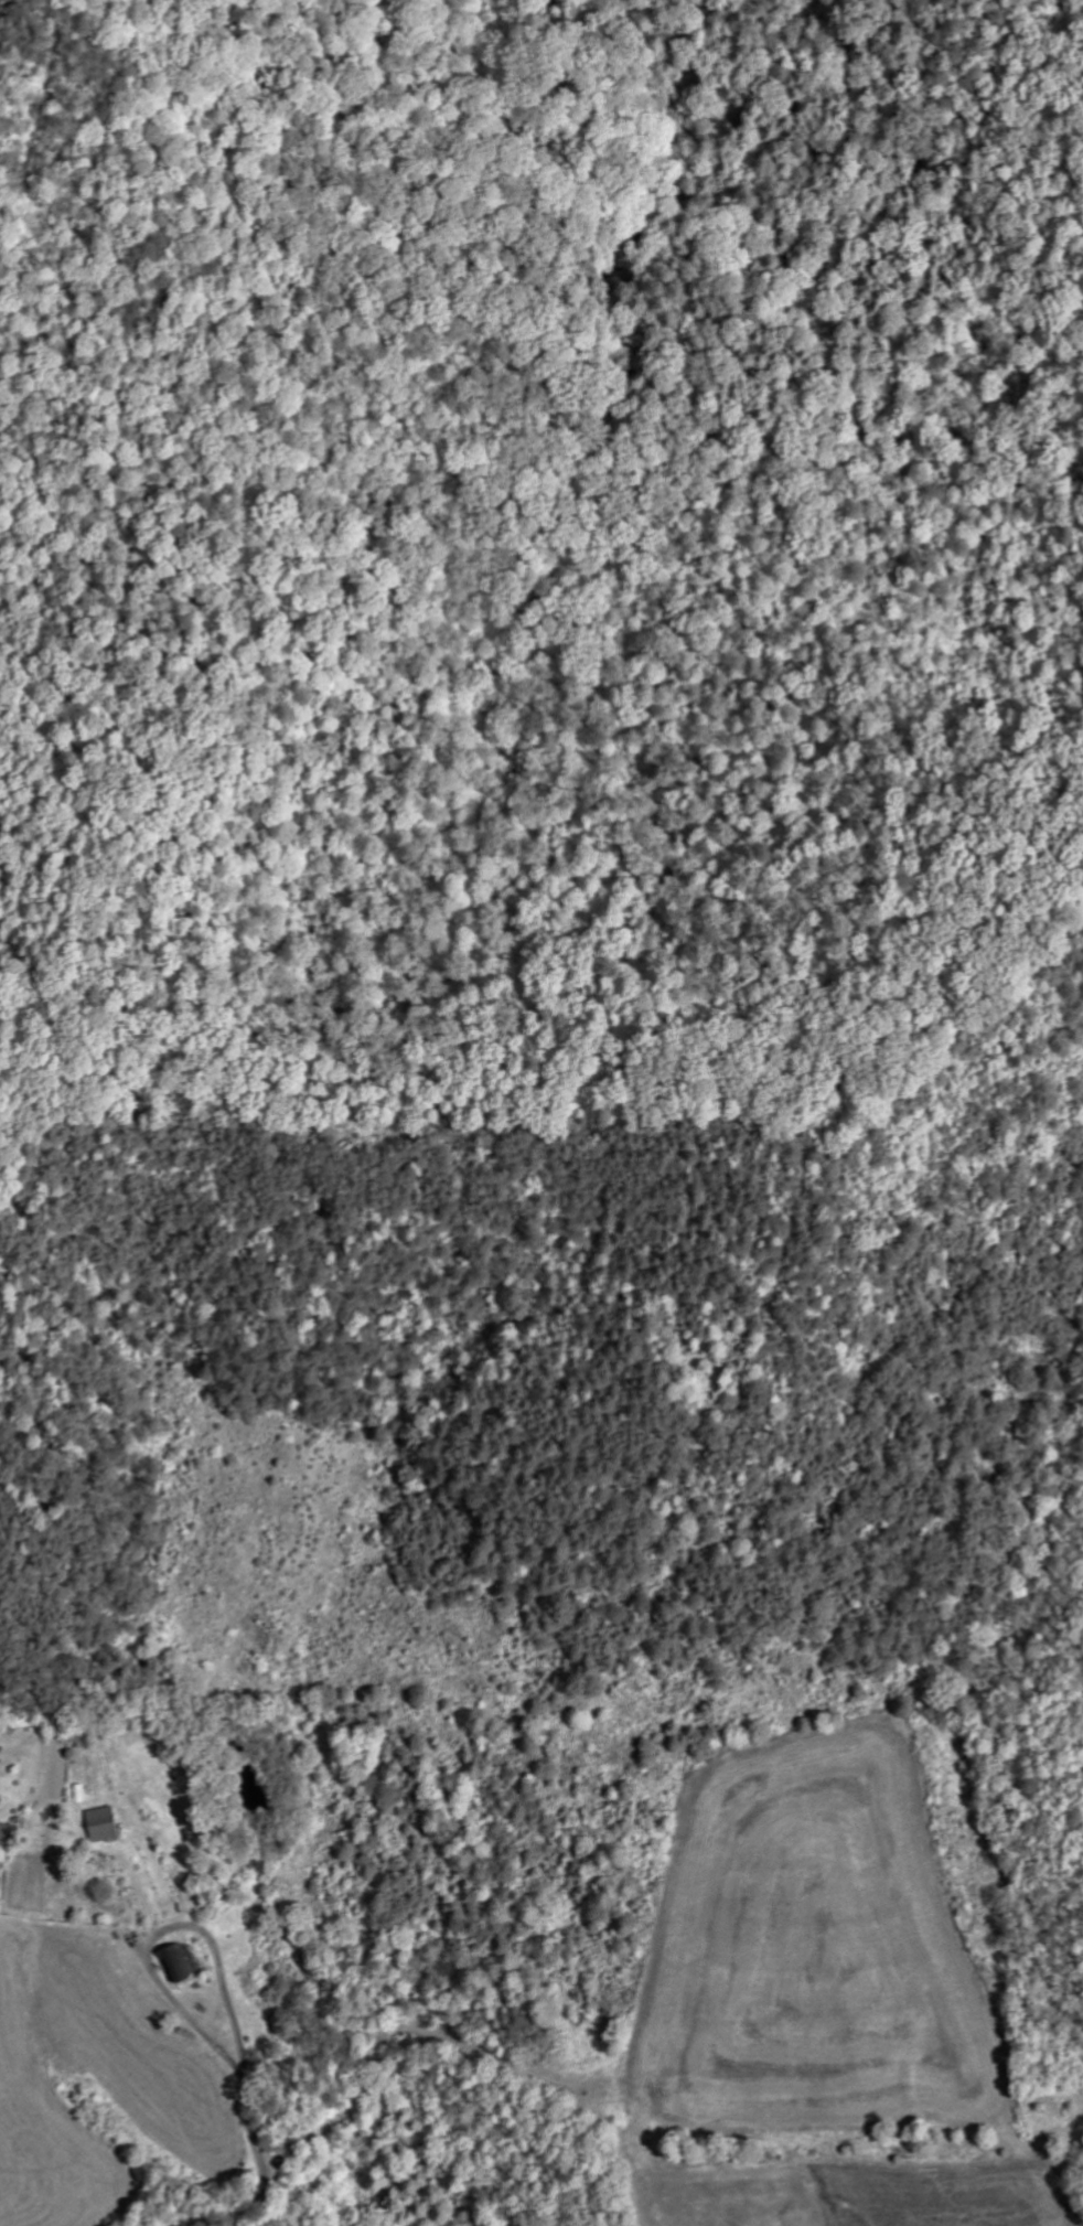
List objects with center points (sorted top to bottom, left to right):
building: (103, 1827)
road: (149, 1954)
building: (180, 1967)
road: (254, 2147)

